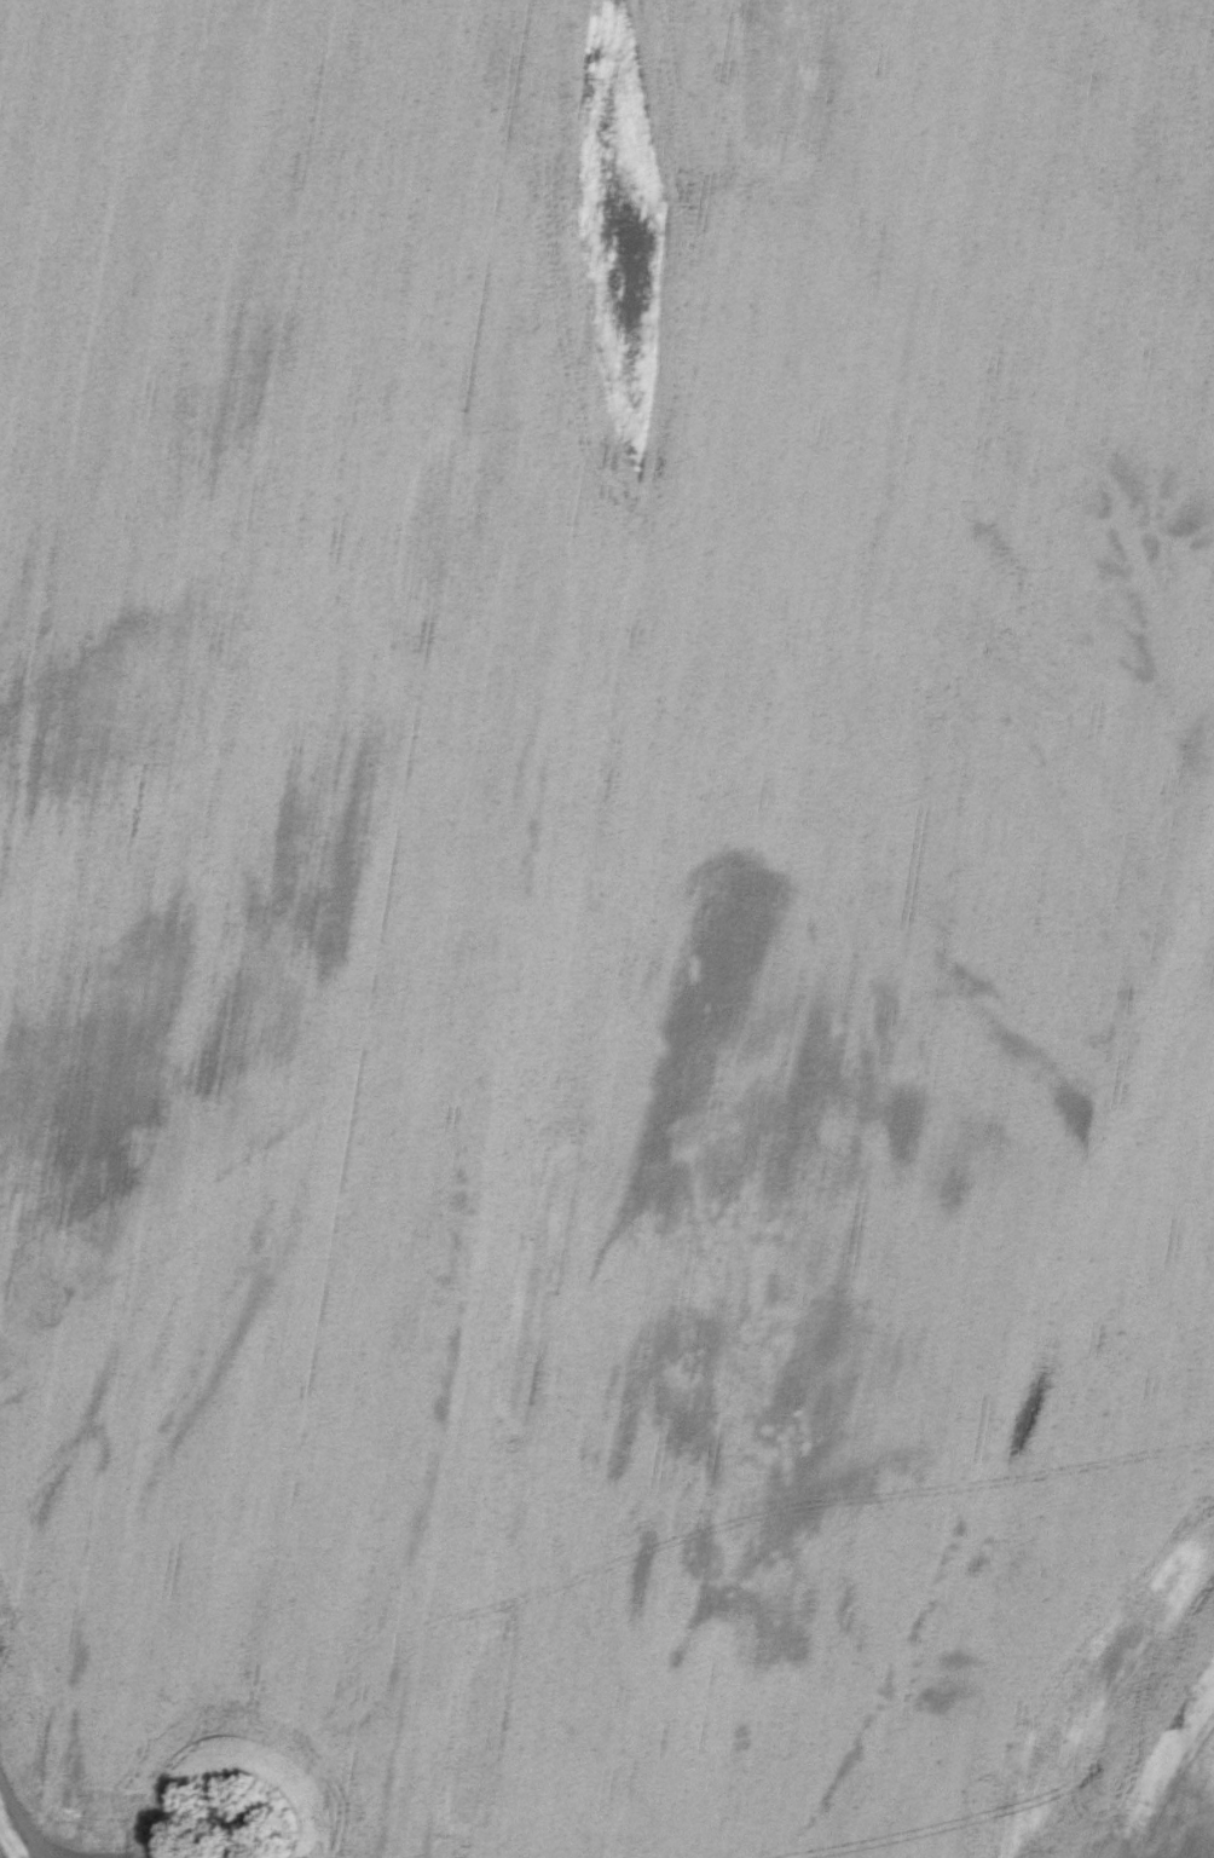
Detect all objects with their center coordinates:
crop: (607, 929)
road: (17, 1814)

